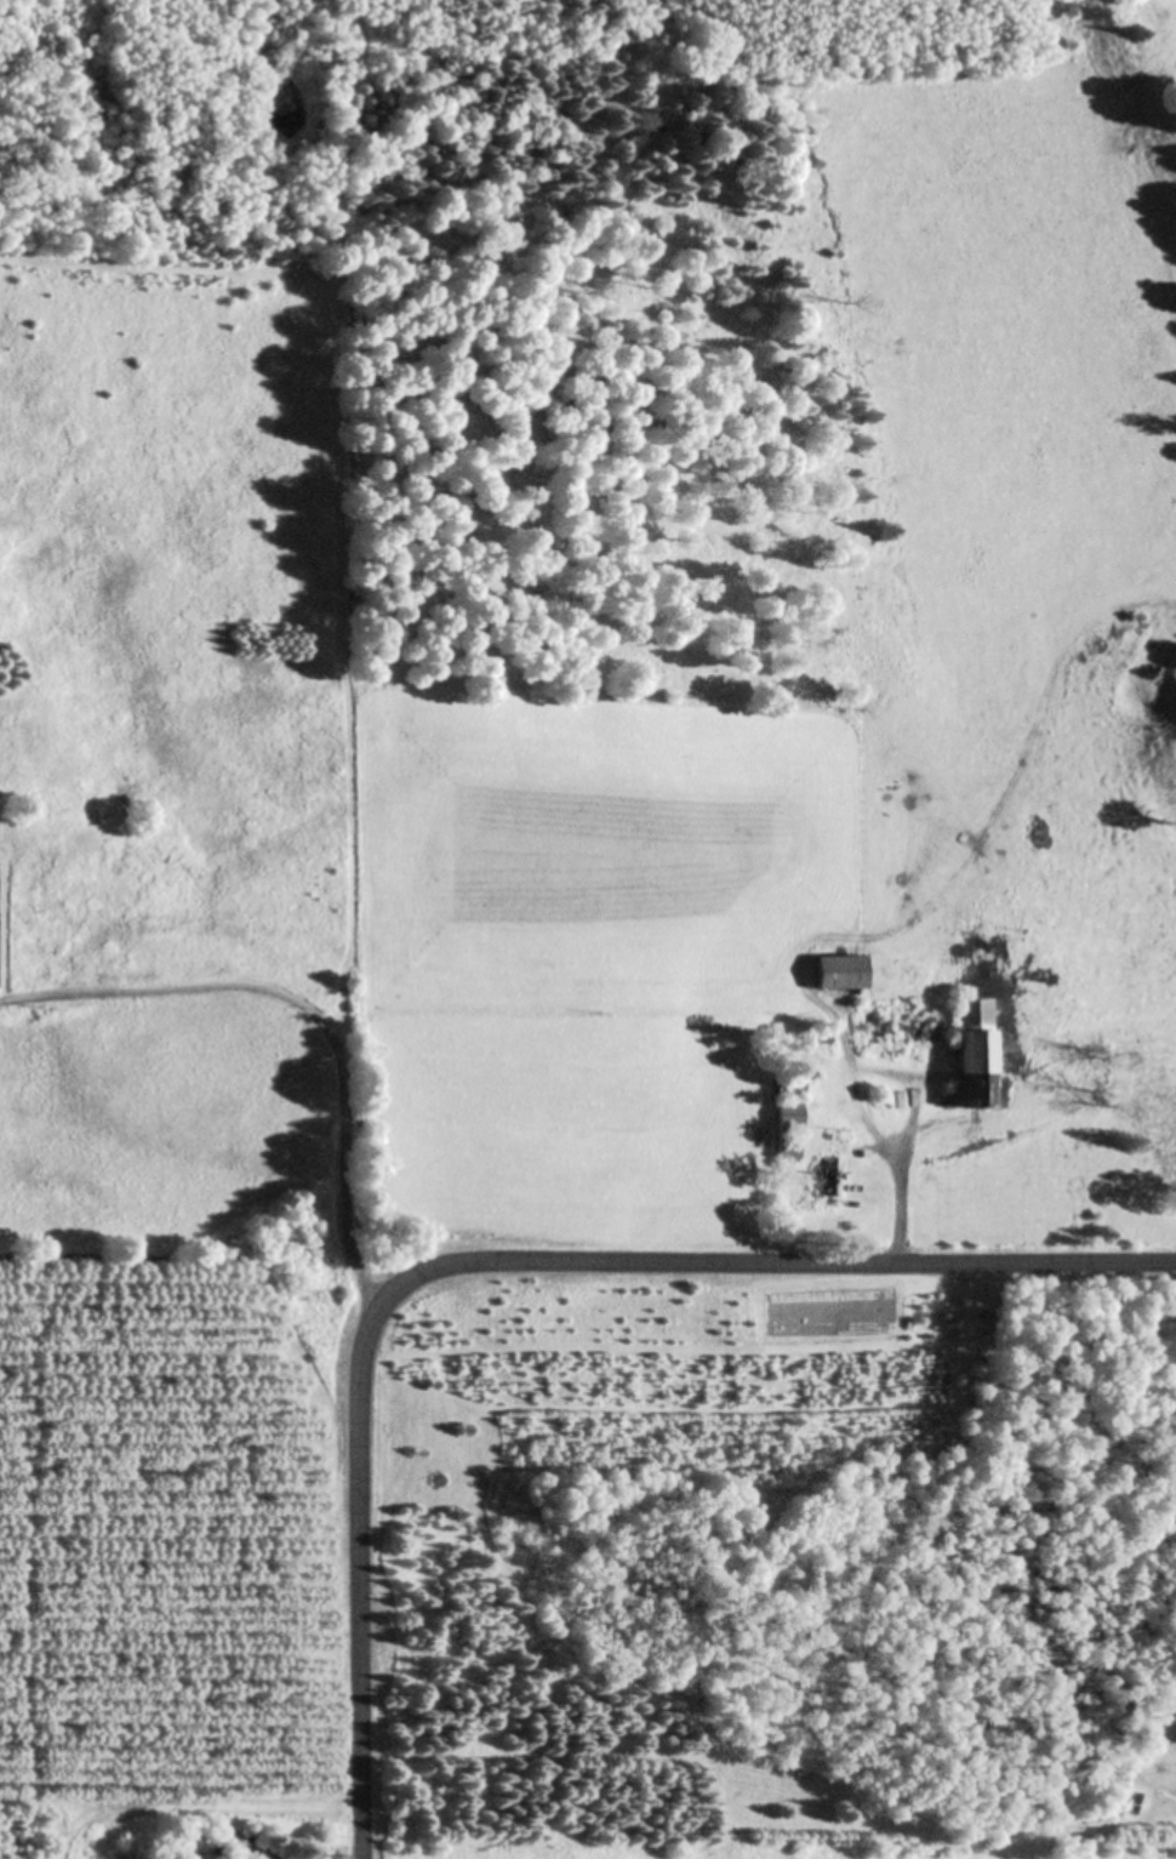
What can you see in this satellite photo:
building: (841, 973)
building: (920, 1033)
building: (976, 1055)
building: (790, 1089)
building: (790, 1117)
building: (789, 1151)
building: (827, 1184)
road: (493, 1262)

